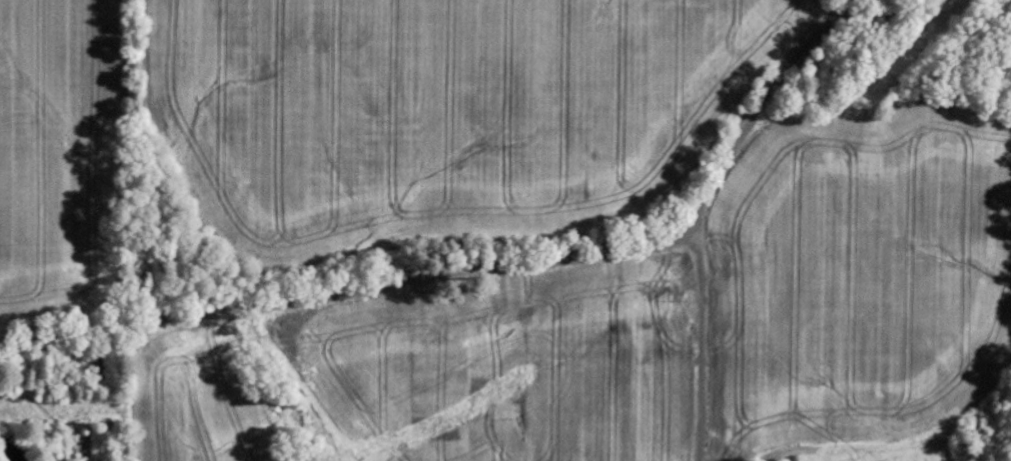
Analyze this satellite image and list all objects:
road: (484, 267)

